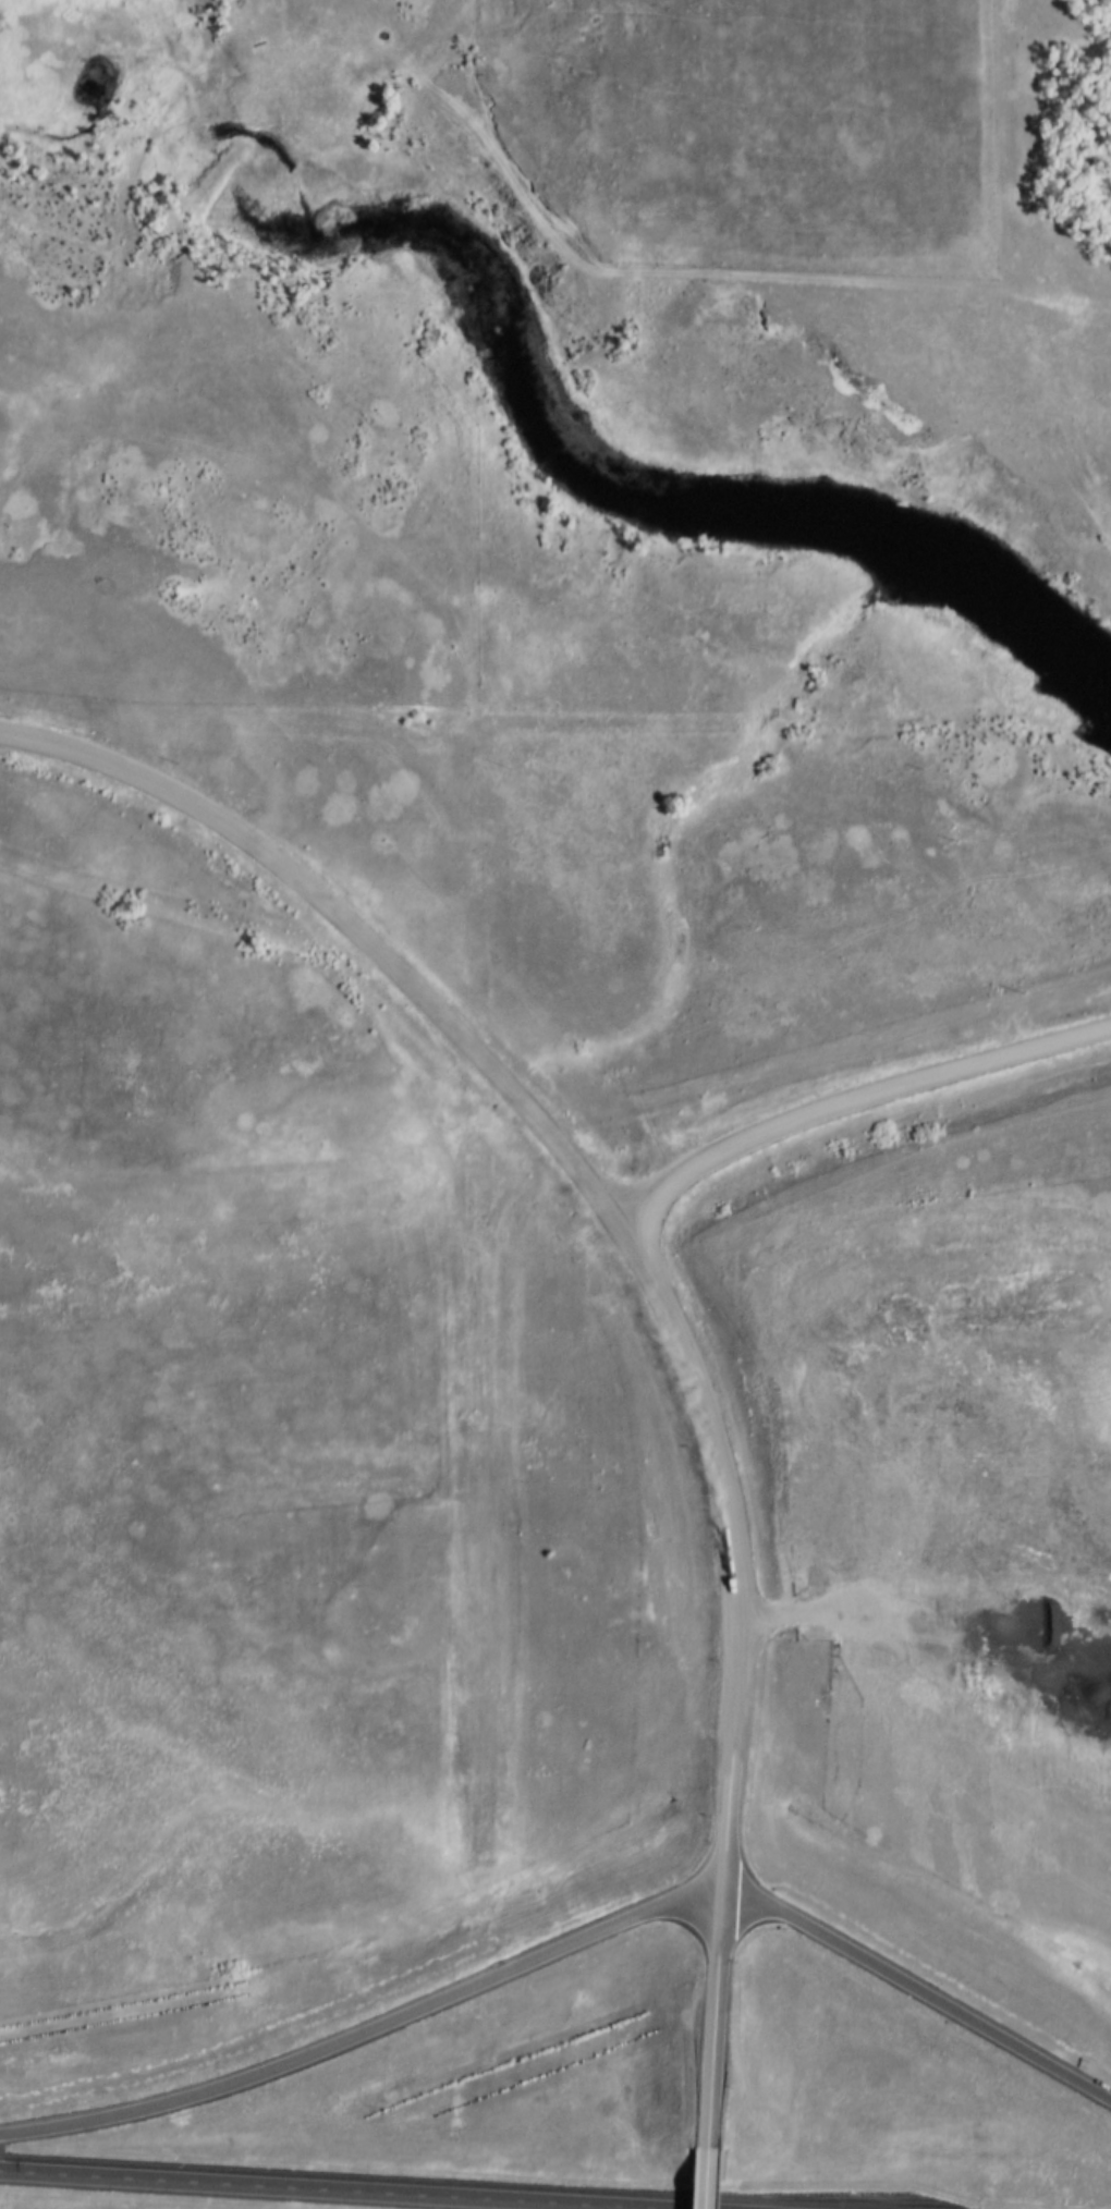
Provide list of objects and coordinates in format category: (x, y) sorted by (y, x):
road: (351, 933)
road: (855, 1109)
road: (723, 1482)
road: (925, 1624)
road: (571, 1950)
road: (719, 1963)
road: (709, 2190)
road: (285, 2193)

